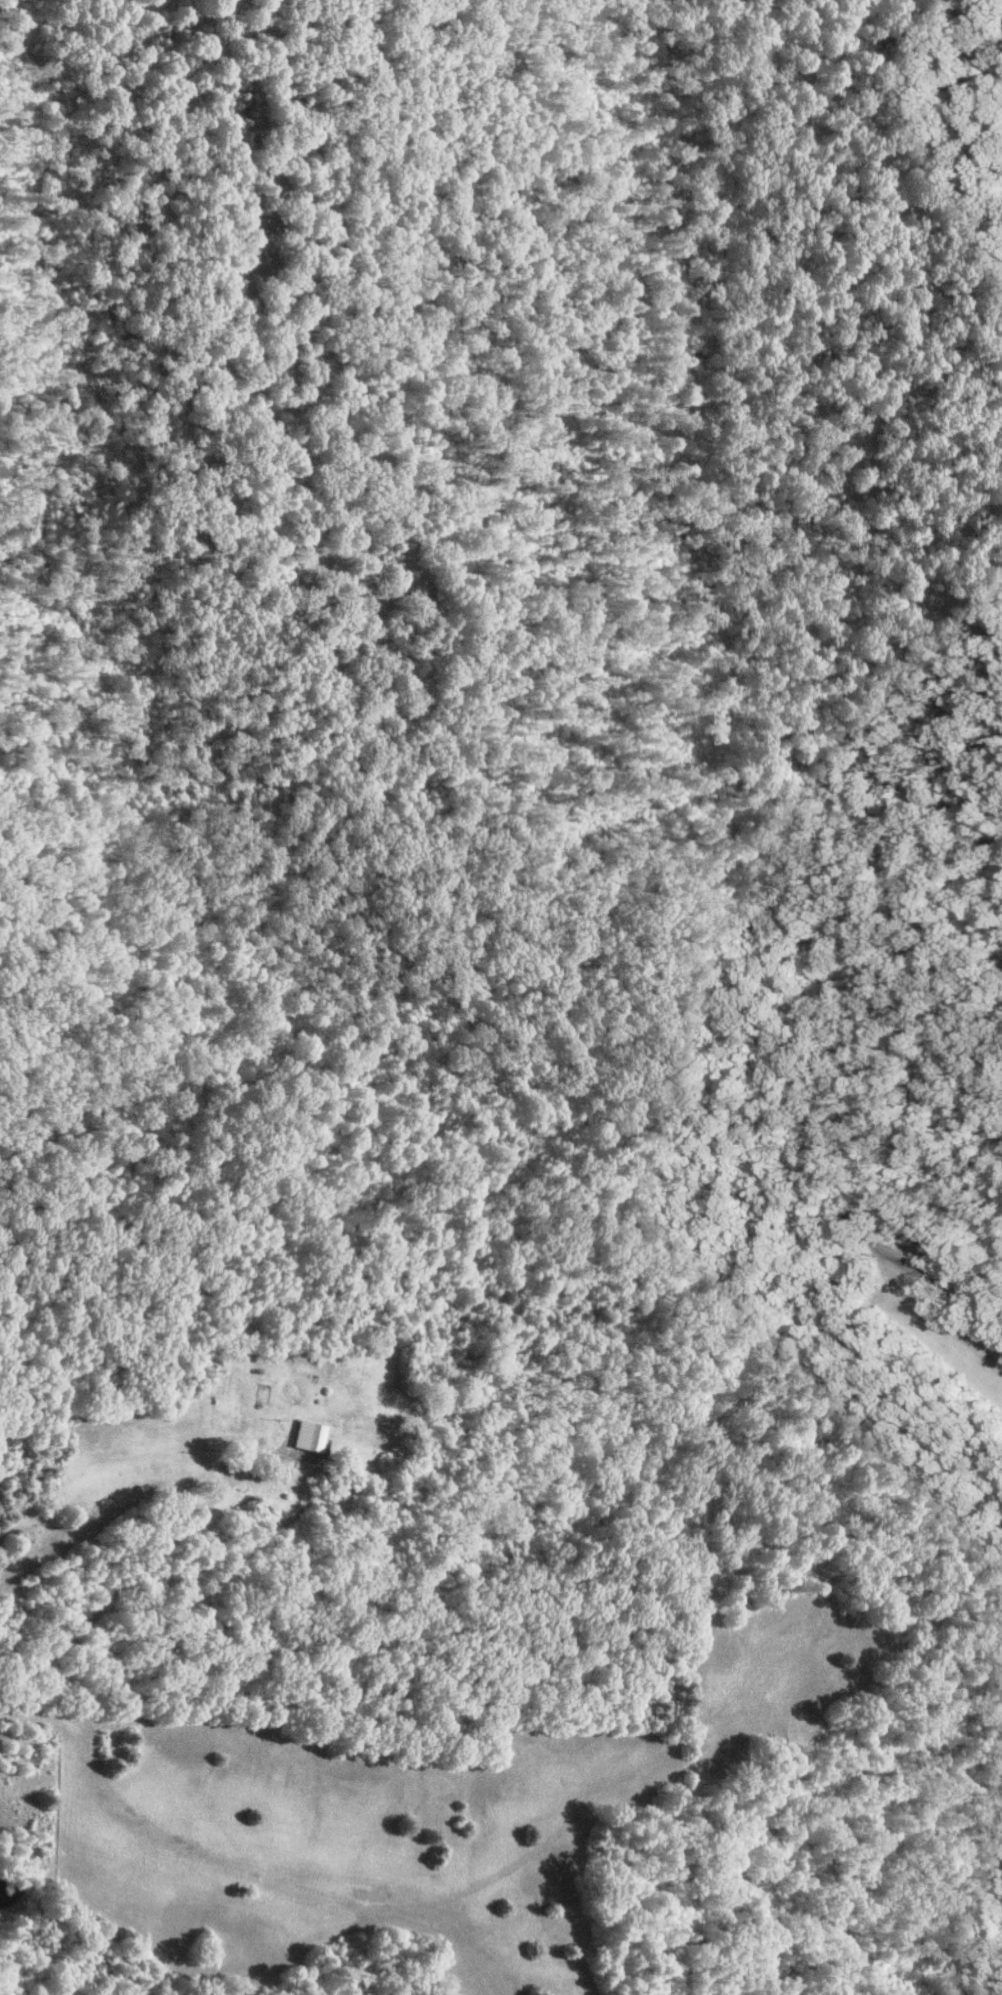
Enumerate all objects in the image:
building: (310, 1435)
road: (152, 1555)

